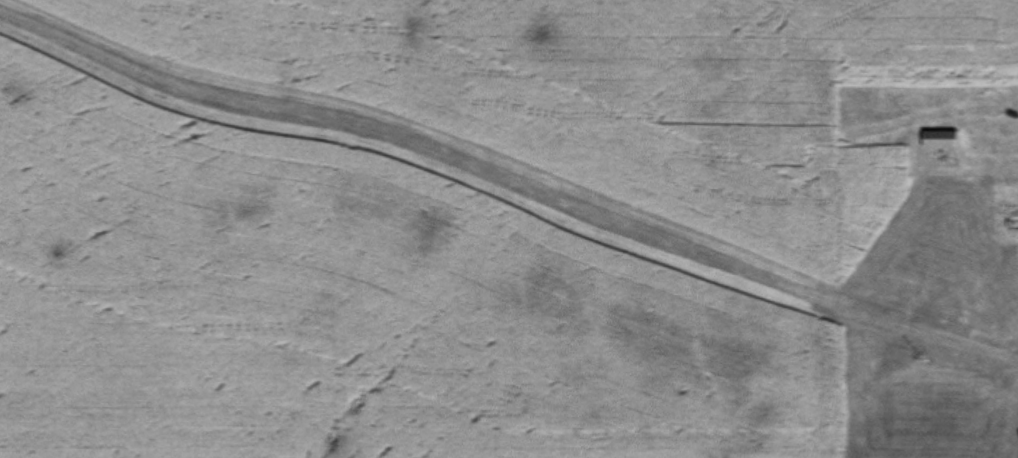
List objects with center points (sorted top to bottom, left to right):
building: (976, 141)
building: (1012, 220)

